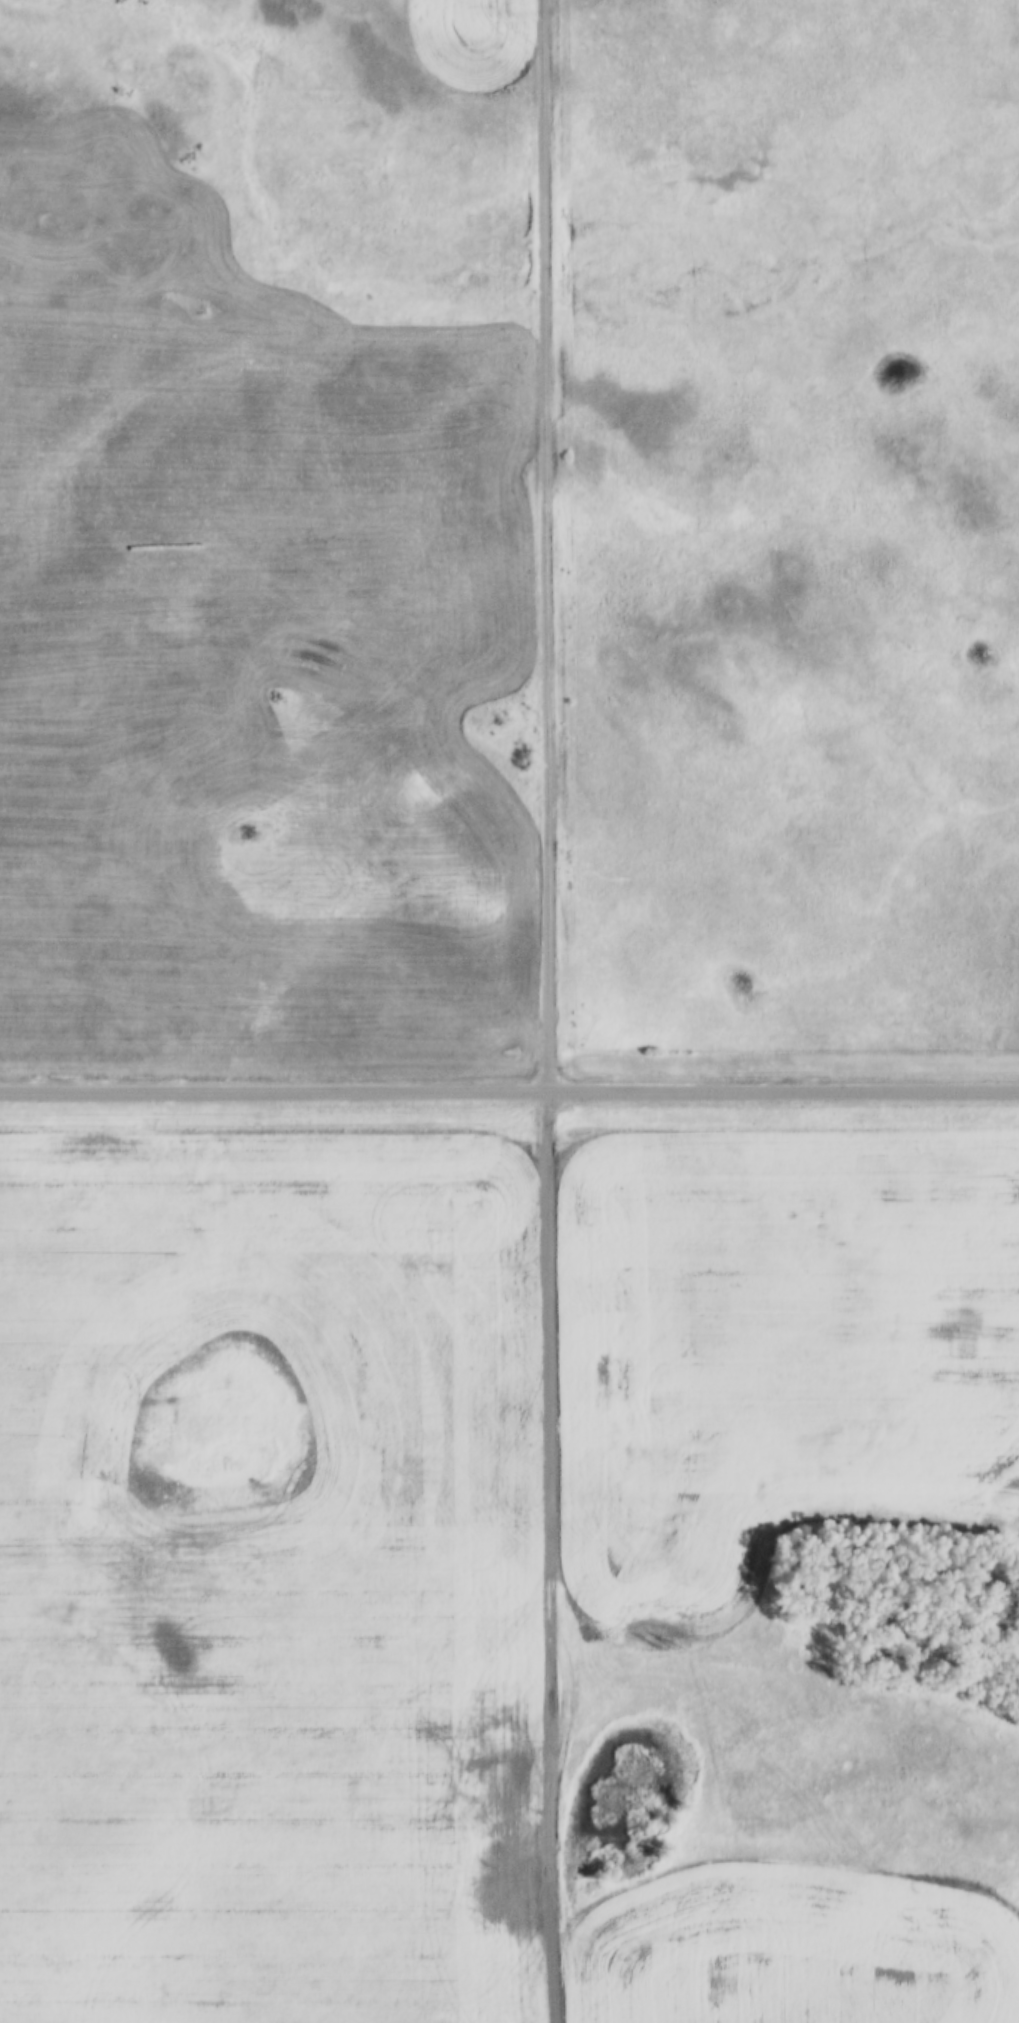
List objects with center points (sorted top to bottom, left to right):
road: (550, 1011)
road: (509, 1093)

